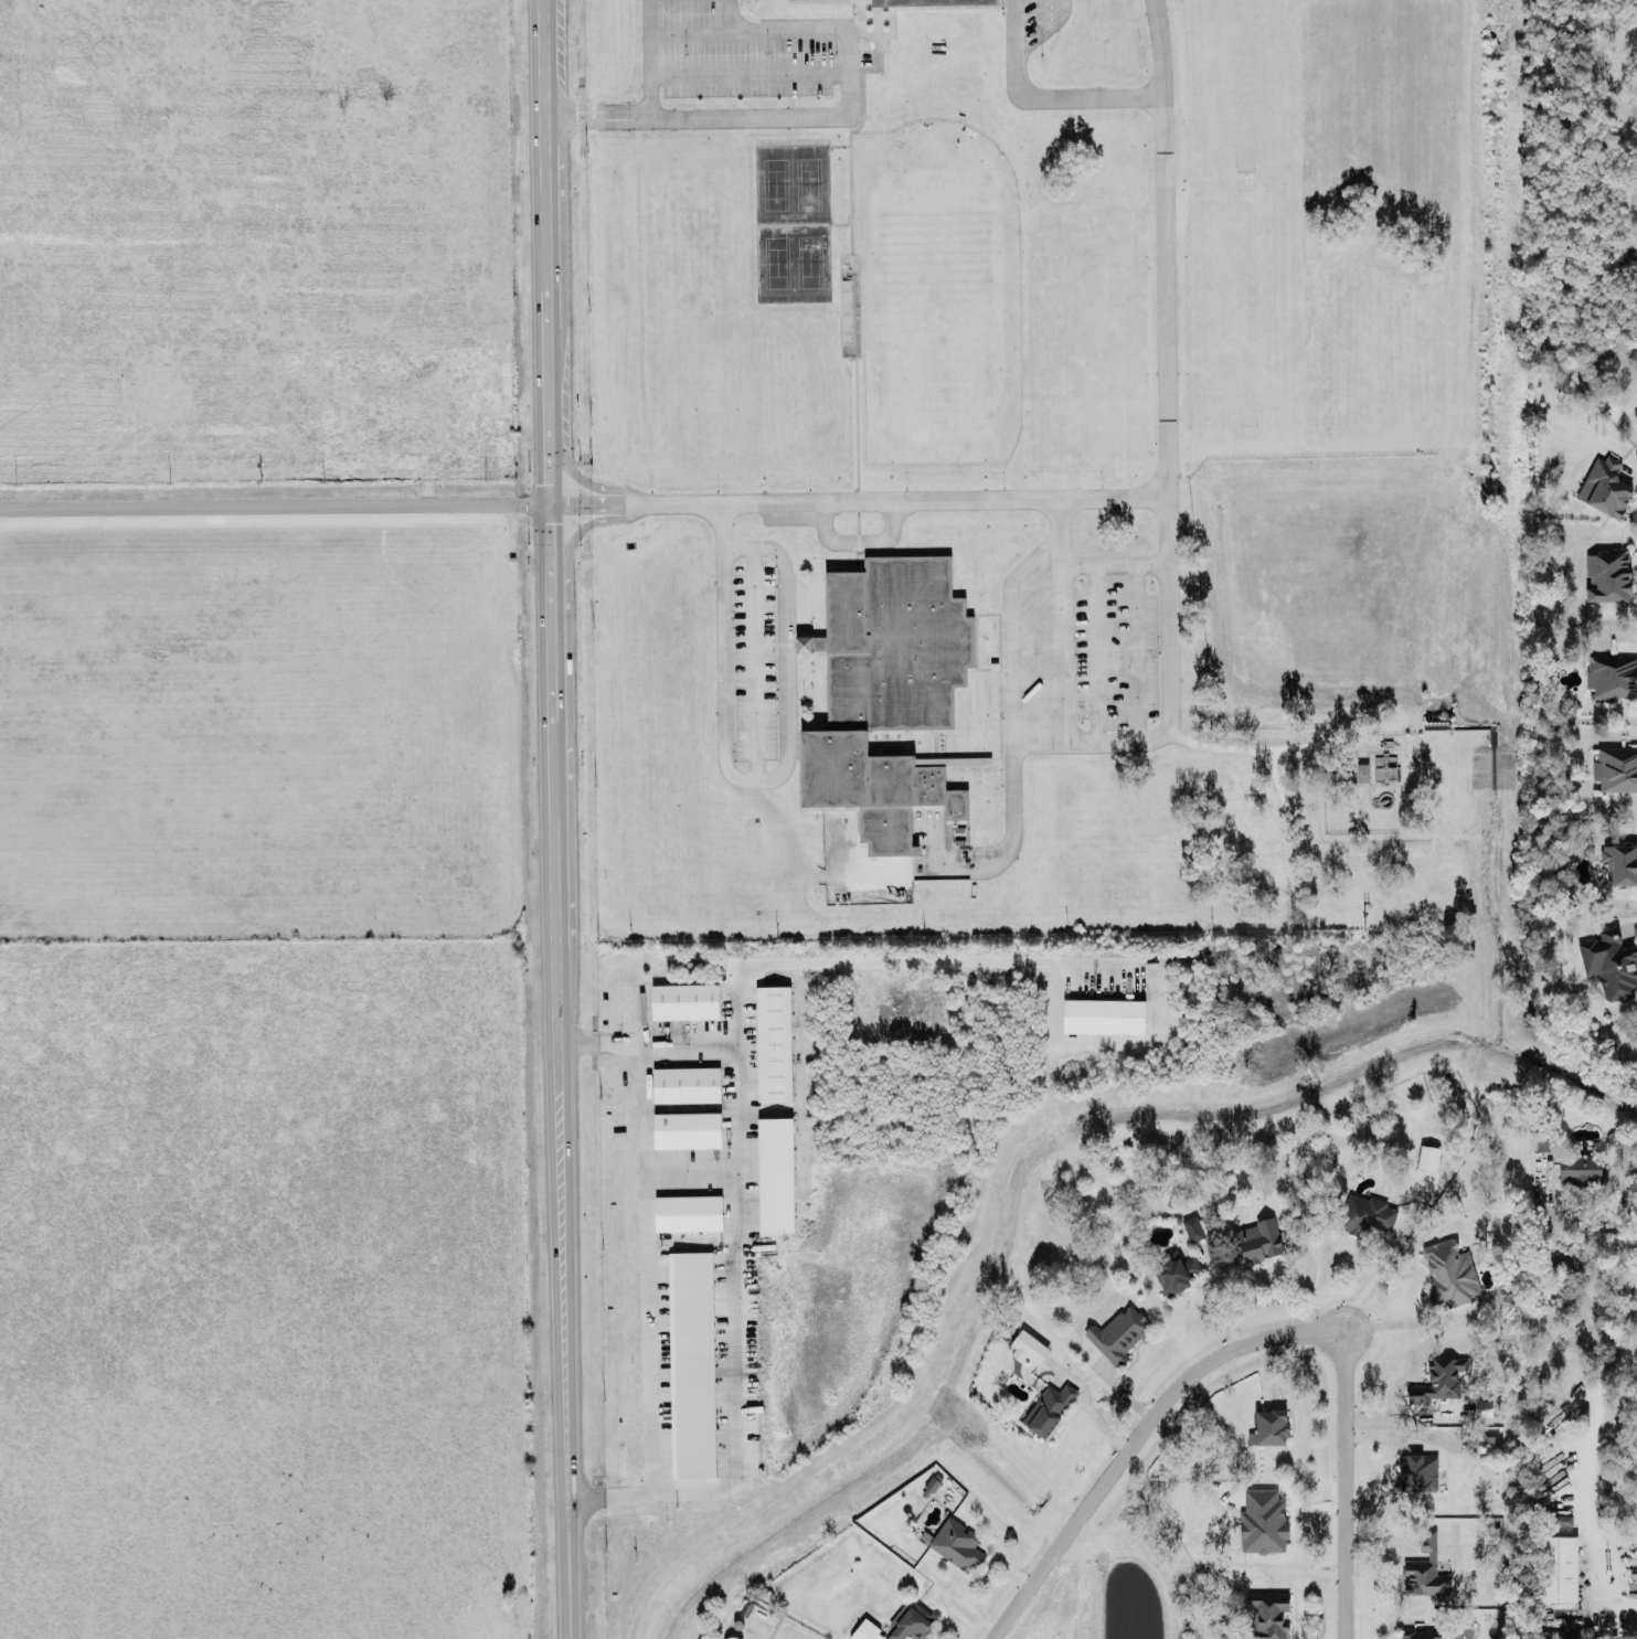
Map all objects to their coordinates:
building: (917, 0)
road: (729, 12)
road: (649, 57)
road: (751, 72)
road: (1048, 93)
road: (846, 111)
building: (1635, 412)
building: (1602, 486)
road: (860, 497)
road: (278, 504)
road: (853, 542)
road: (1101, 562)
building: (1607, 574)
road: (1167, 582)
road: (1135, 651)
road: (1062, 652)
road: (1095, 652)
building: (1611, 672)
building: (886, 691)
road: (1236, 745)
road: (560, 749)
building: (1616, 767)
building: (1362, 770)
road: (759, 778)
building: (1620, 859)
road: (863, 960)
building: (1611, 964)
building: (684, 999)
road: (602, 1039)
building: (773, 1041)
building: (685, 1082)
building: (687, 1128)
building: (1542, 1138)
building: (1427, 1156)
building: (1578, 1167)
road: (738, 1173)
building: (775, 1173)
building: (688, 1211)
building: (1365, 1213)
road: (1608, 1216)
building: (1192, 1226)
building: (1256, 1241)
building: (1174, 1270)
building: (1449, 1270)
road: (1368, 1280)
building: (1551, 1281)
road: (1391, 1321)
building: (1119, 1332)
building: (1027, 1347)
building: (691, 1363)
building: (1438, 1379)
building: (1482, 1405)
building: (1049, 1408)
building: (1268, 1425)
road: (1402, 1436)
road: (1136, 1439)
building: (1478, 1441)
building: (1417, 1470)
road: (1580, 1479)
road: (1347, 1484)
road: (687, 1488)
road: (608, 1494)
building: (1559, 1518)
building: (1263, 1519)
building: (1490, 1533)
building: (956, 1545)
building: (1556, 1566)
building: (1424, 1567)
road: (570, 1569)
building: (1269, 1614)
building: (908, 1622)
building: (867, 1630)
building: (1420, 1633)

